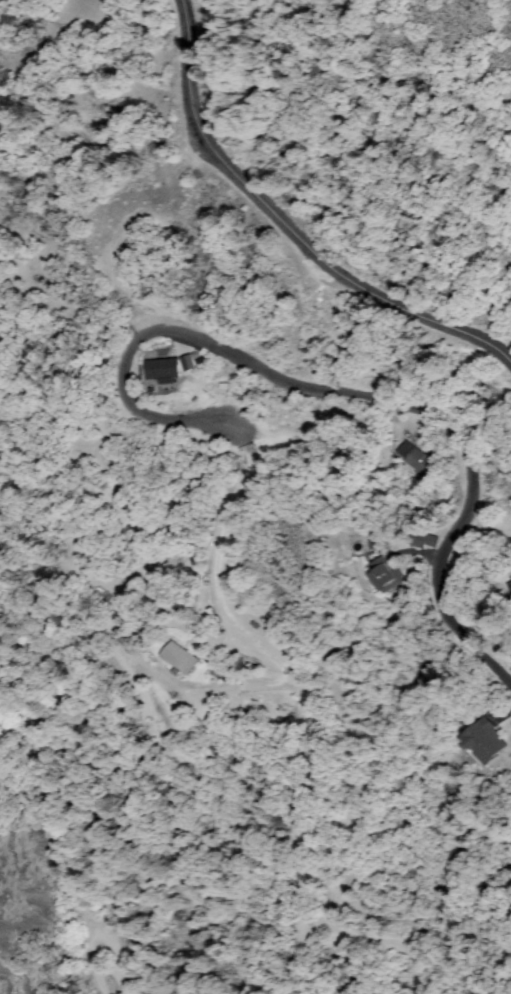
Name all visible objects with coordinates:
road: (287, 227)
building: (187, 363)
building: (162, 371)
road: (377, 398)
building: (417, 459)
building: (418, 538)
building: (385, 575)
building: (510, 586)
building: (179, 658)
building: (216, 672)
building: (489, 741)

